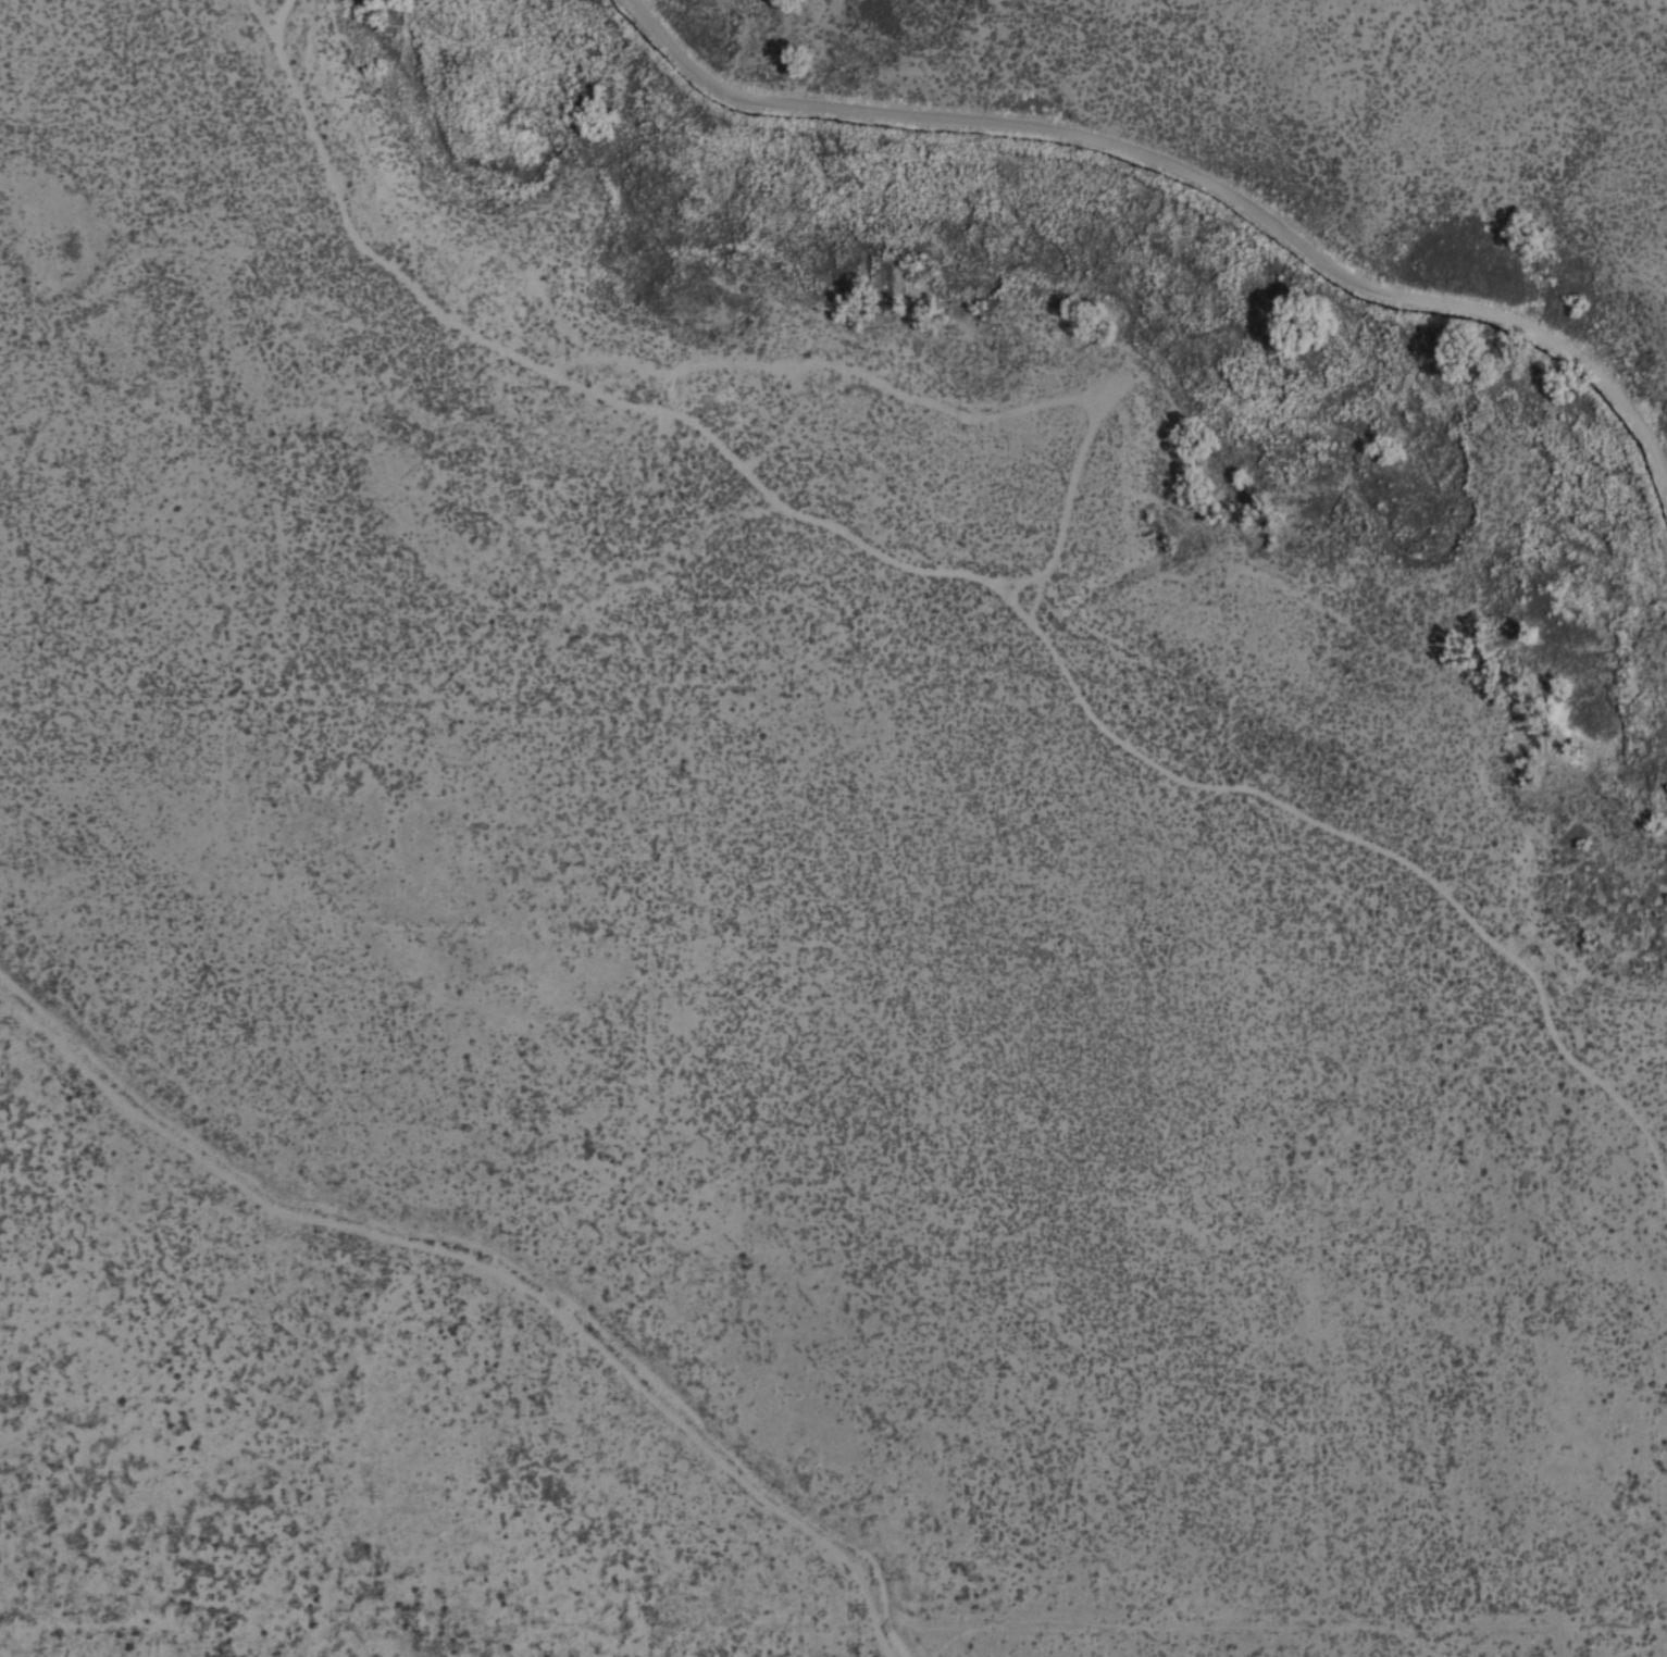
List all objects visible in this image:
road: (1189, 173)
road: (1000, 413)
road: (961, 573)
road: (489, 1271)

